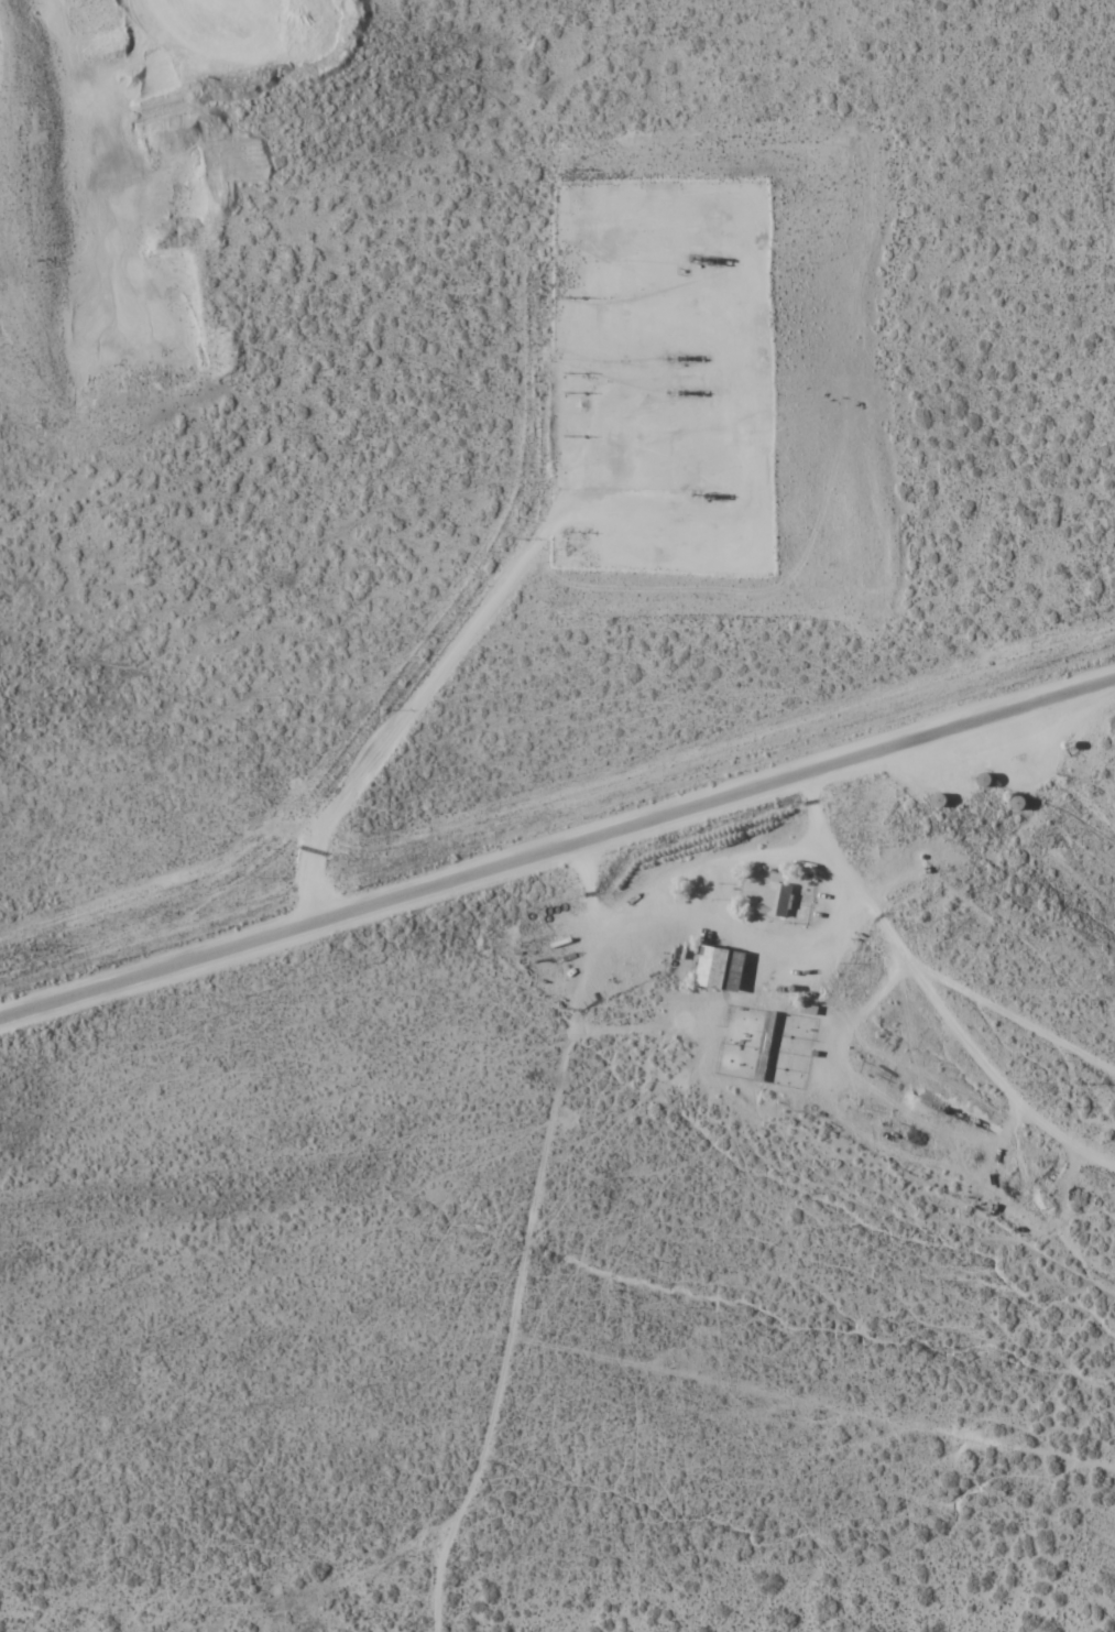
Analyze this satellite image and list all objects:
road: (513, 575)
road: (557, 856)
road: (877, 995)
road: (980, 1008)
road: (531, 1243)

